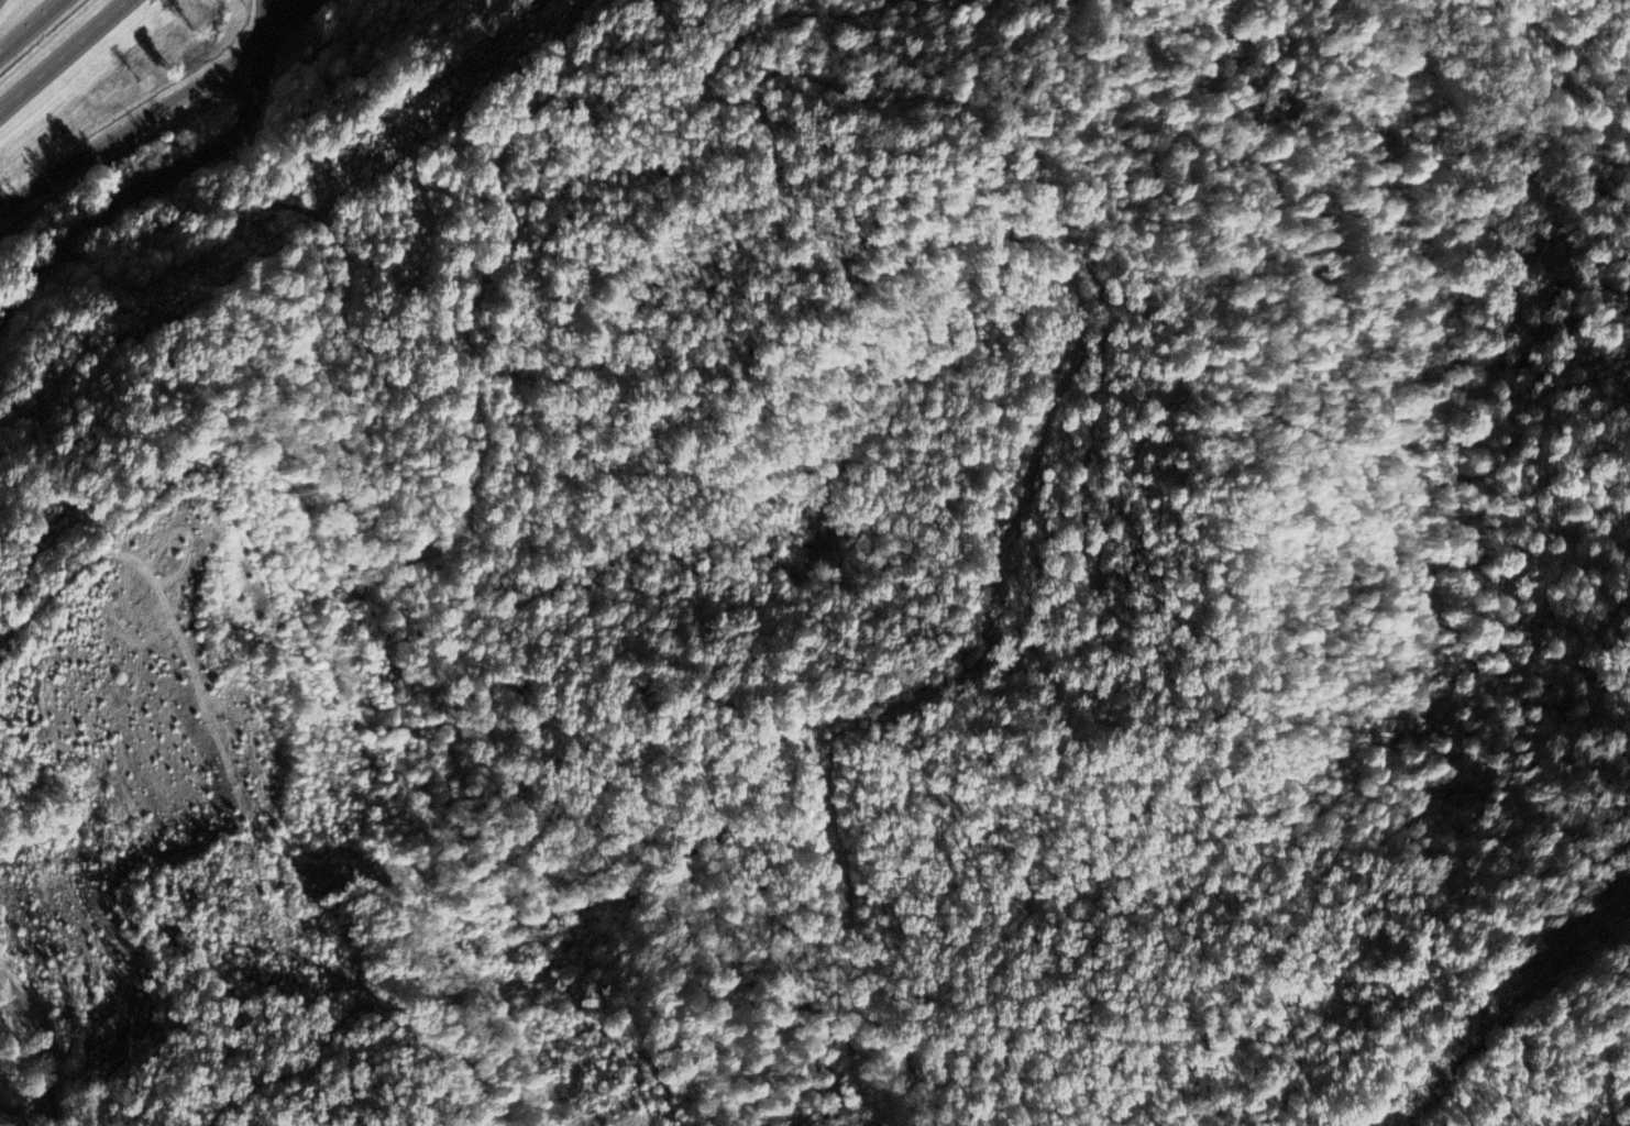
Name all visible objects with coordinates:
road: (267, 19)
road: (288, 19)
road: (30, 26)
road: (64, 55)
road: (235, 81)
road: (133, 124)
road: (146, 187)
power tower: (305, 235)
road: (440, 639)
road: (44, 1034)
road: (23, 1108)
road: (52, 1117)

